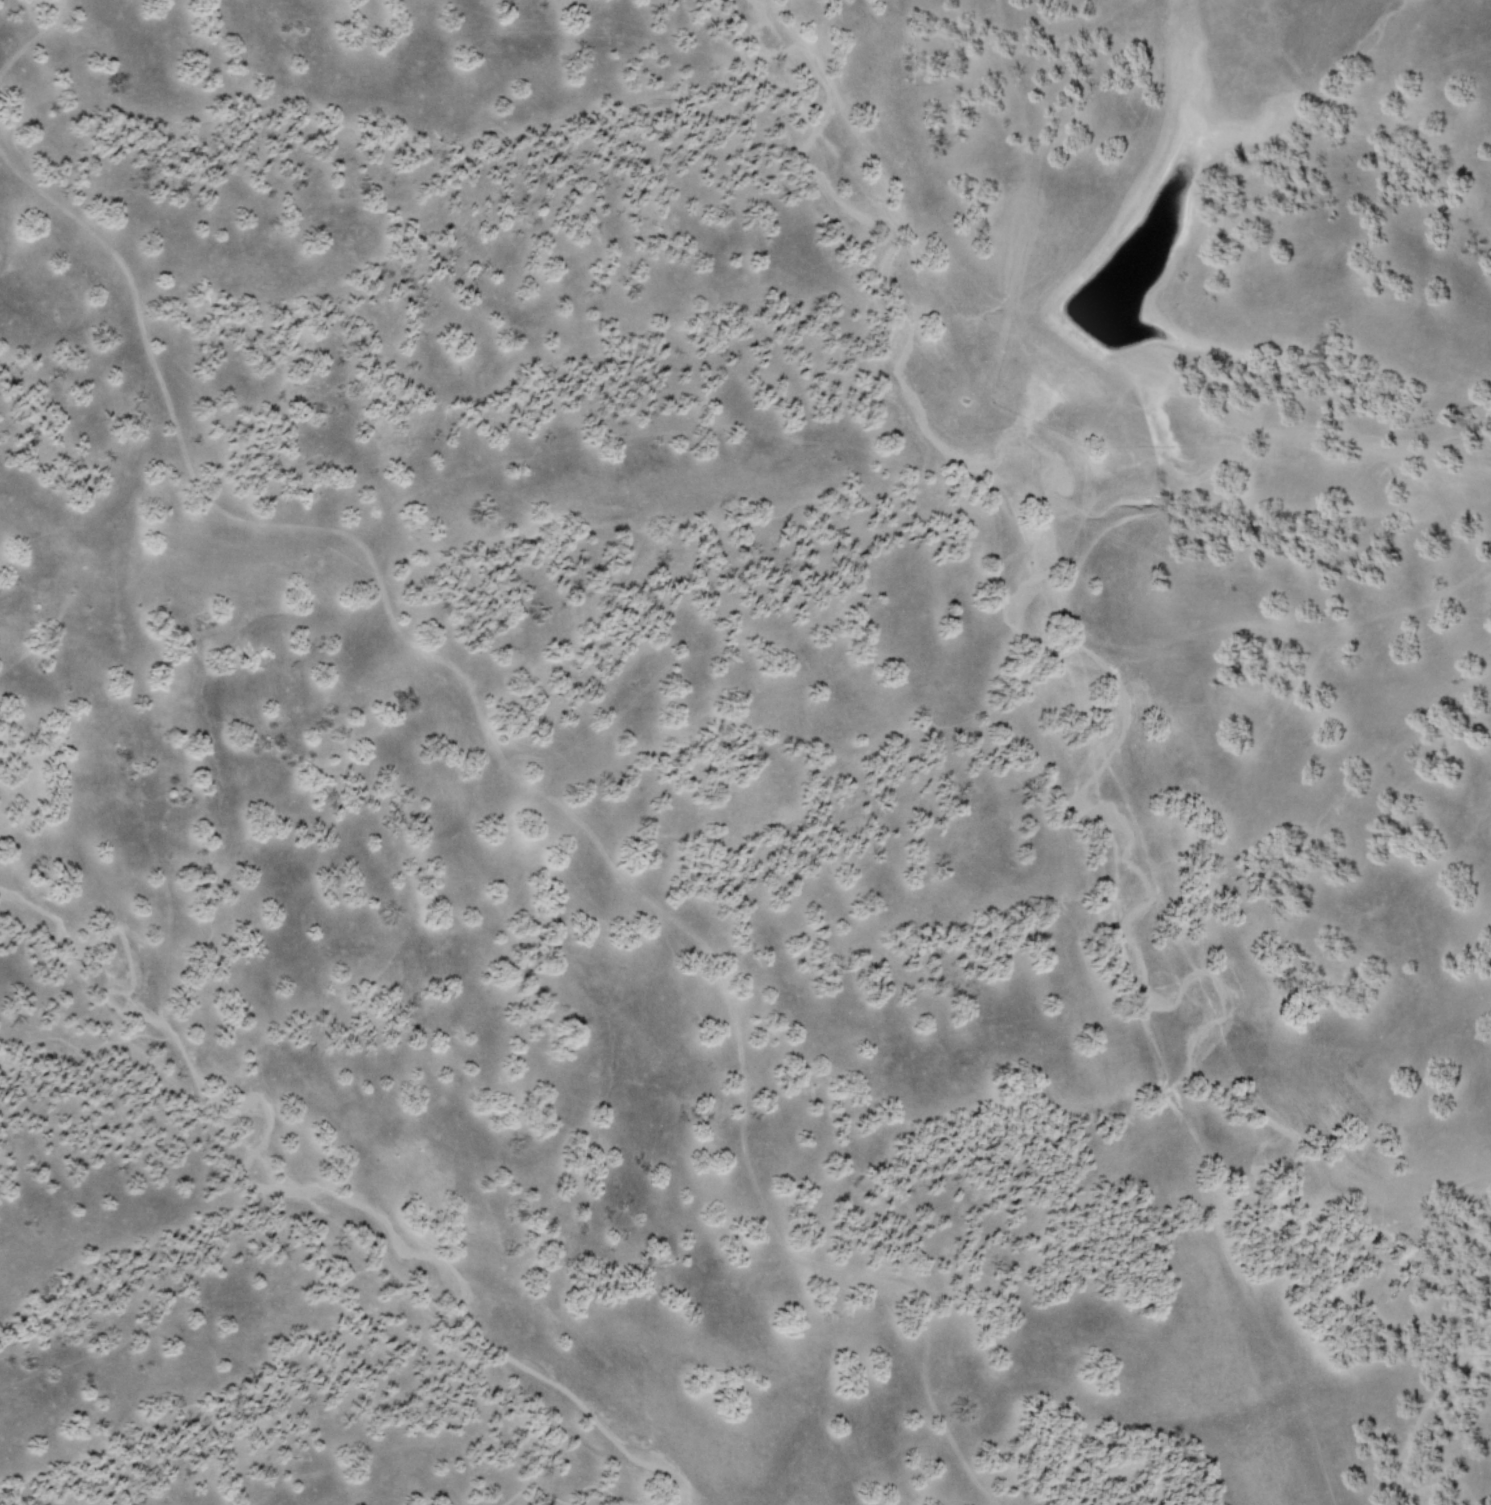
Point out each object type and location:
dam: (1077, 346)
road: (1279, 618)

